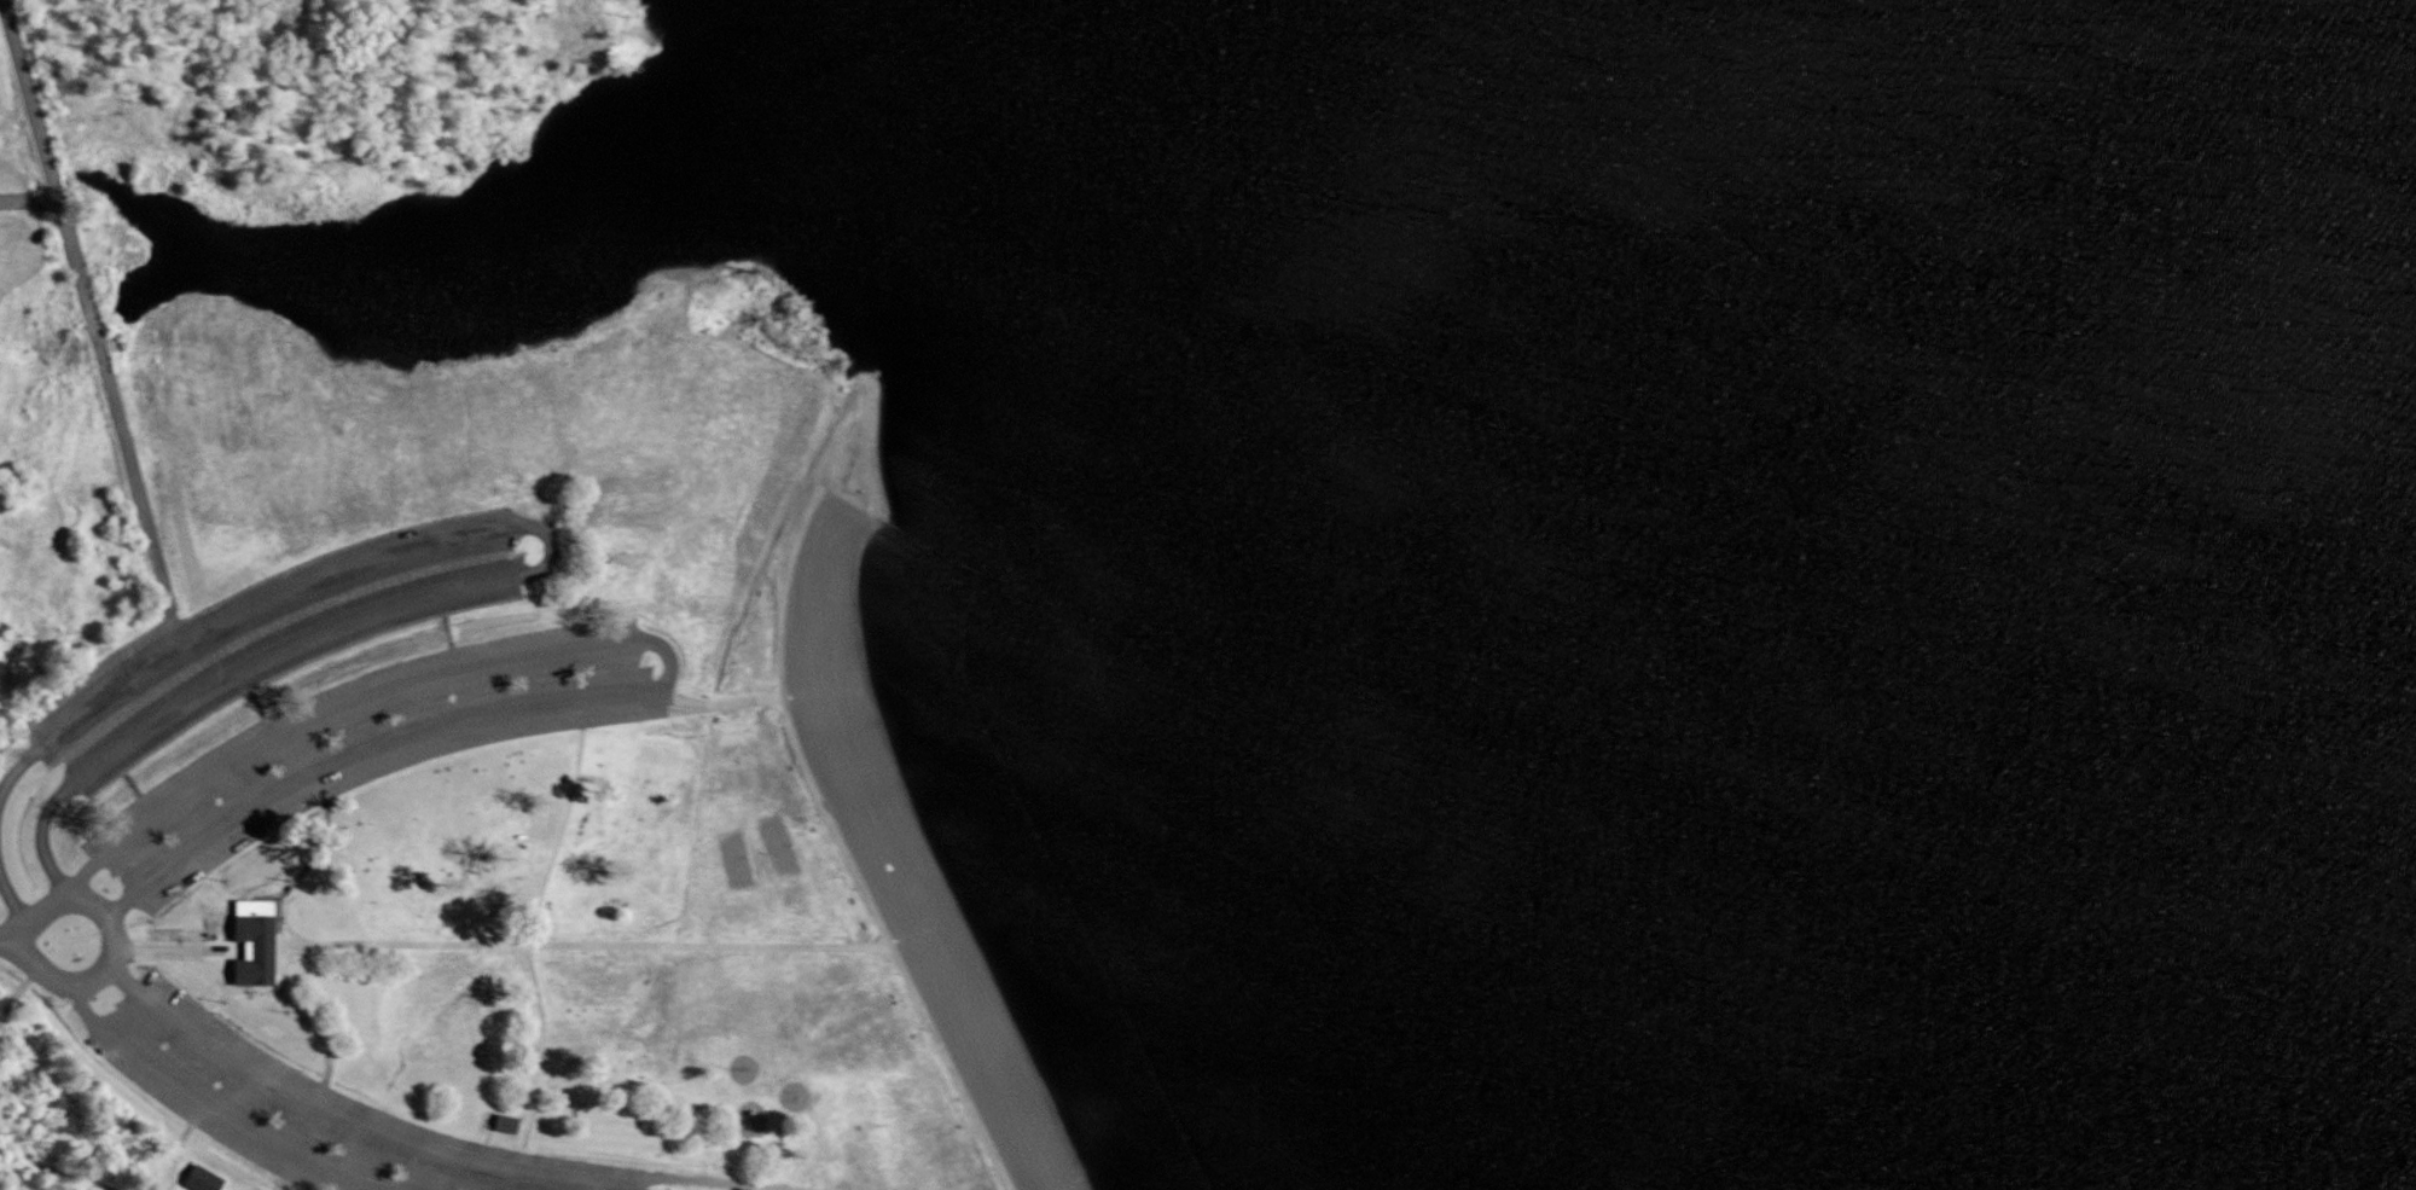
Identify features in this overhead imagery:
road: (29, 197)
road: (92, 320)
road: (544, 562)
road: (440, 602)
road: (446, 629)
parking lot: (267, 638)
road: (657, 643)
road: (452, 658)
road: (243, 680)
road: (662, 700)
road: (727, 703)
road: (256, 704)
road: (580, 712)
parking lot: (366, 742)
road: (292, 757)
road: (115, 762)
road: (128, 783)
road: (169, 834)
park: (778, 844)
road: (841, 848)
road: (312, 853)
park: (736, 861)
road: (13, 907)
building: (170, 933)
road: (7, 939)
building: (255, 940)
road: (275, 940)
road: (583, 942)
road: (525, 946)
road: (168, 947)
road: (231, 952)
road: (72, 982)
road: (18, 987)
road: (320, 1038)
road: (209, 1107)
parking lot: (304, 1109)
road: (352, 1119)
building: (504, 1124)
road: (483, 1142)
road: (179, 1143)
road: (45, 1165)
road: (169, 1171)
building: (201, 1176)
road: (708, 1180)
road: (337, 1184)

